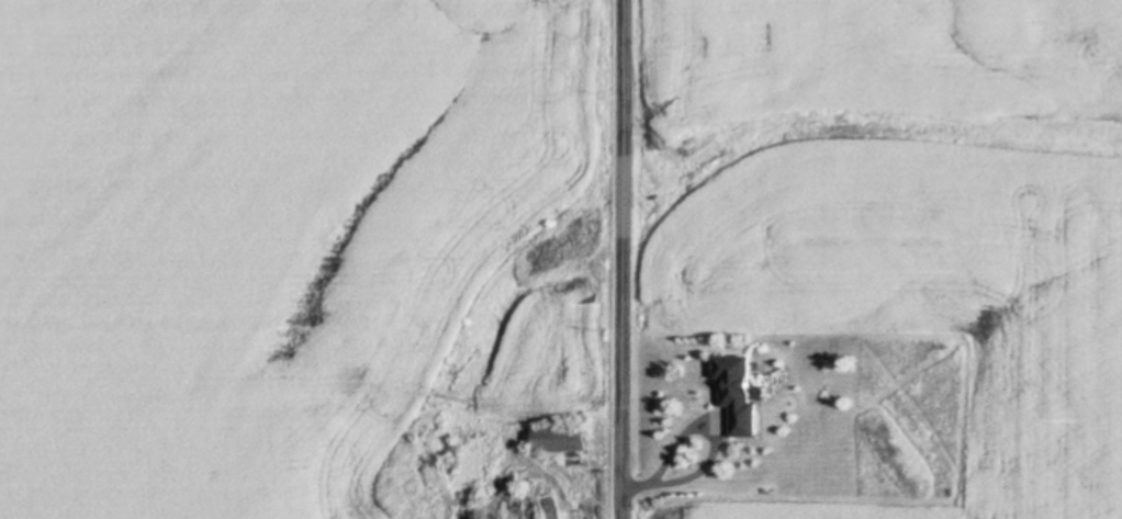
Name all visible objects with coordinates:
road: (625, 259)
building: (742, 395)
building: (563, 439)
building: (731, 485)

